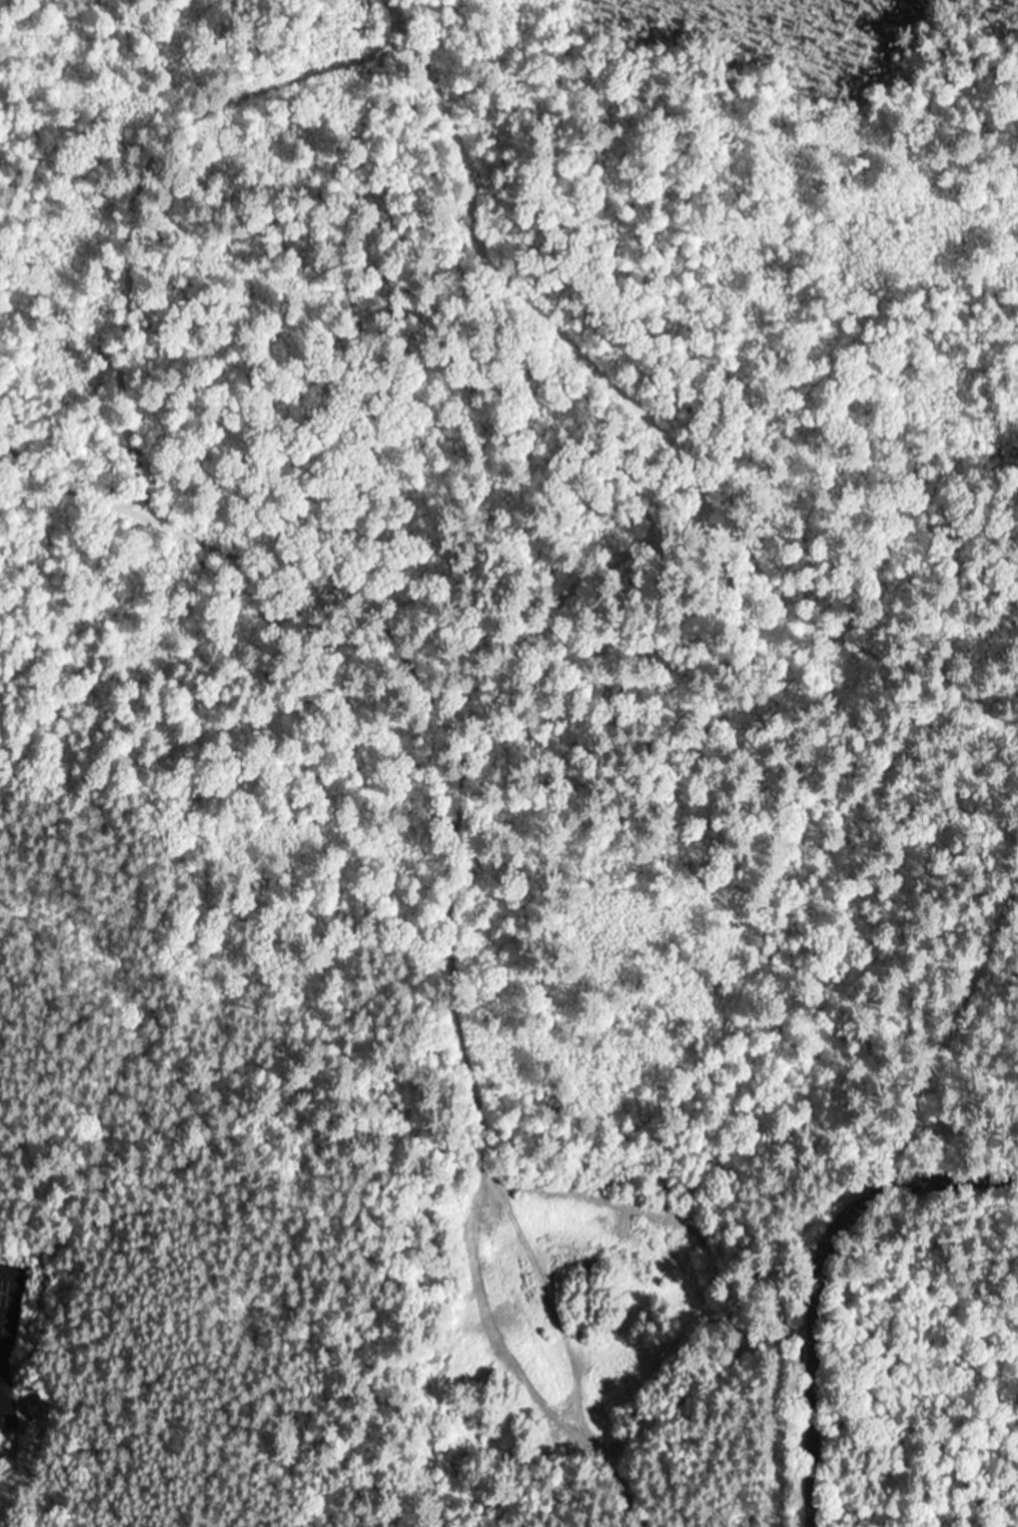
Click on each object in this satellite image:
road: (811, 1262)

